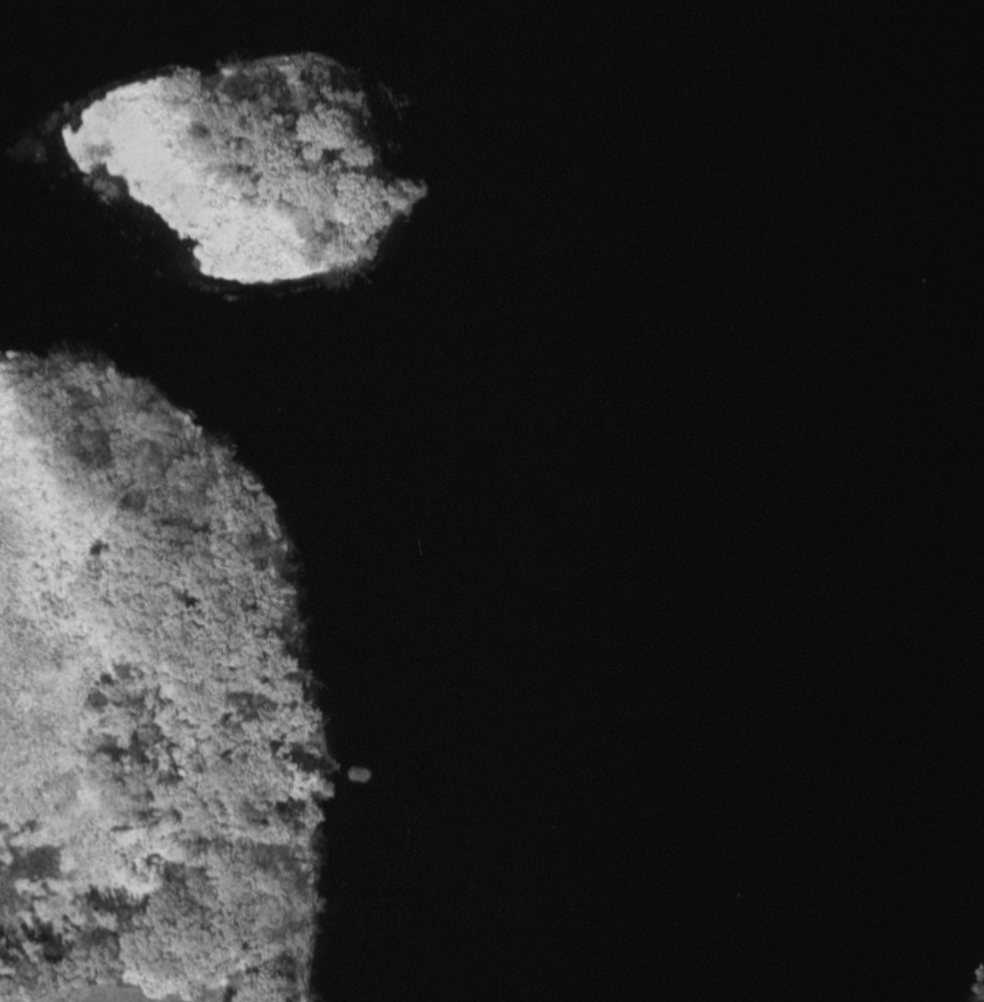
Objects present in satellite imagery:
river: (682, 488)

